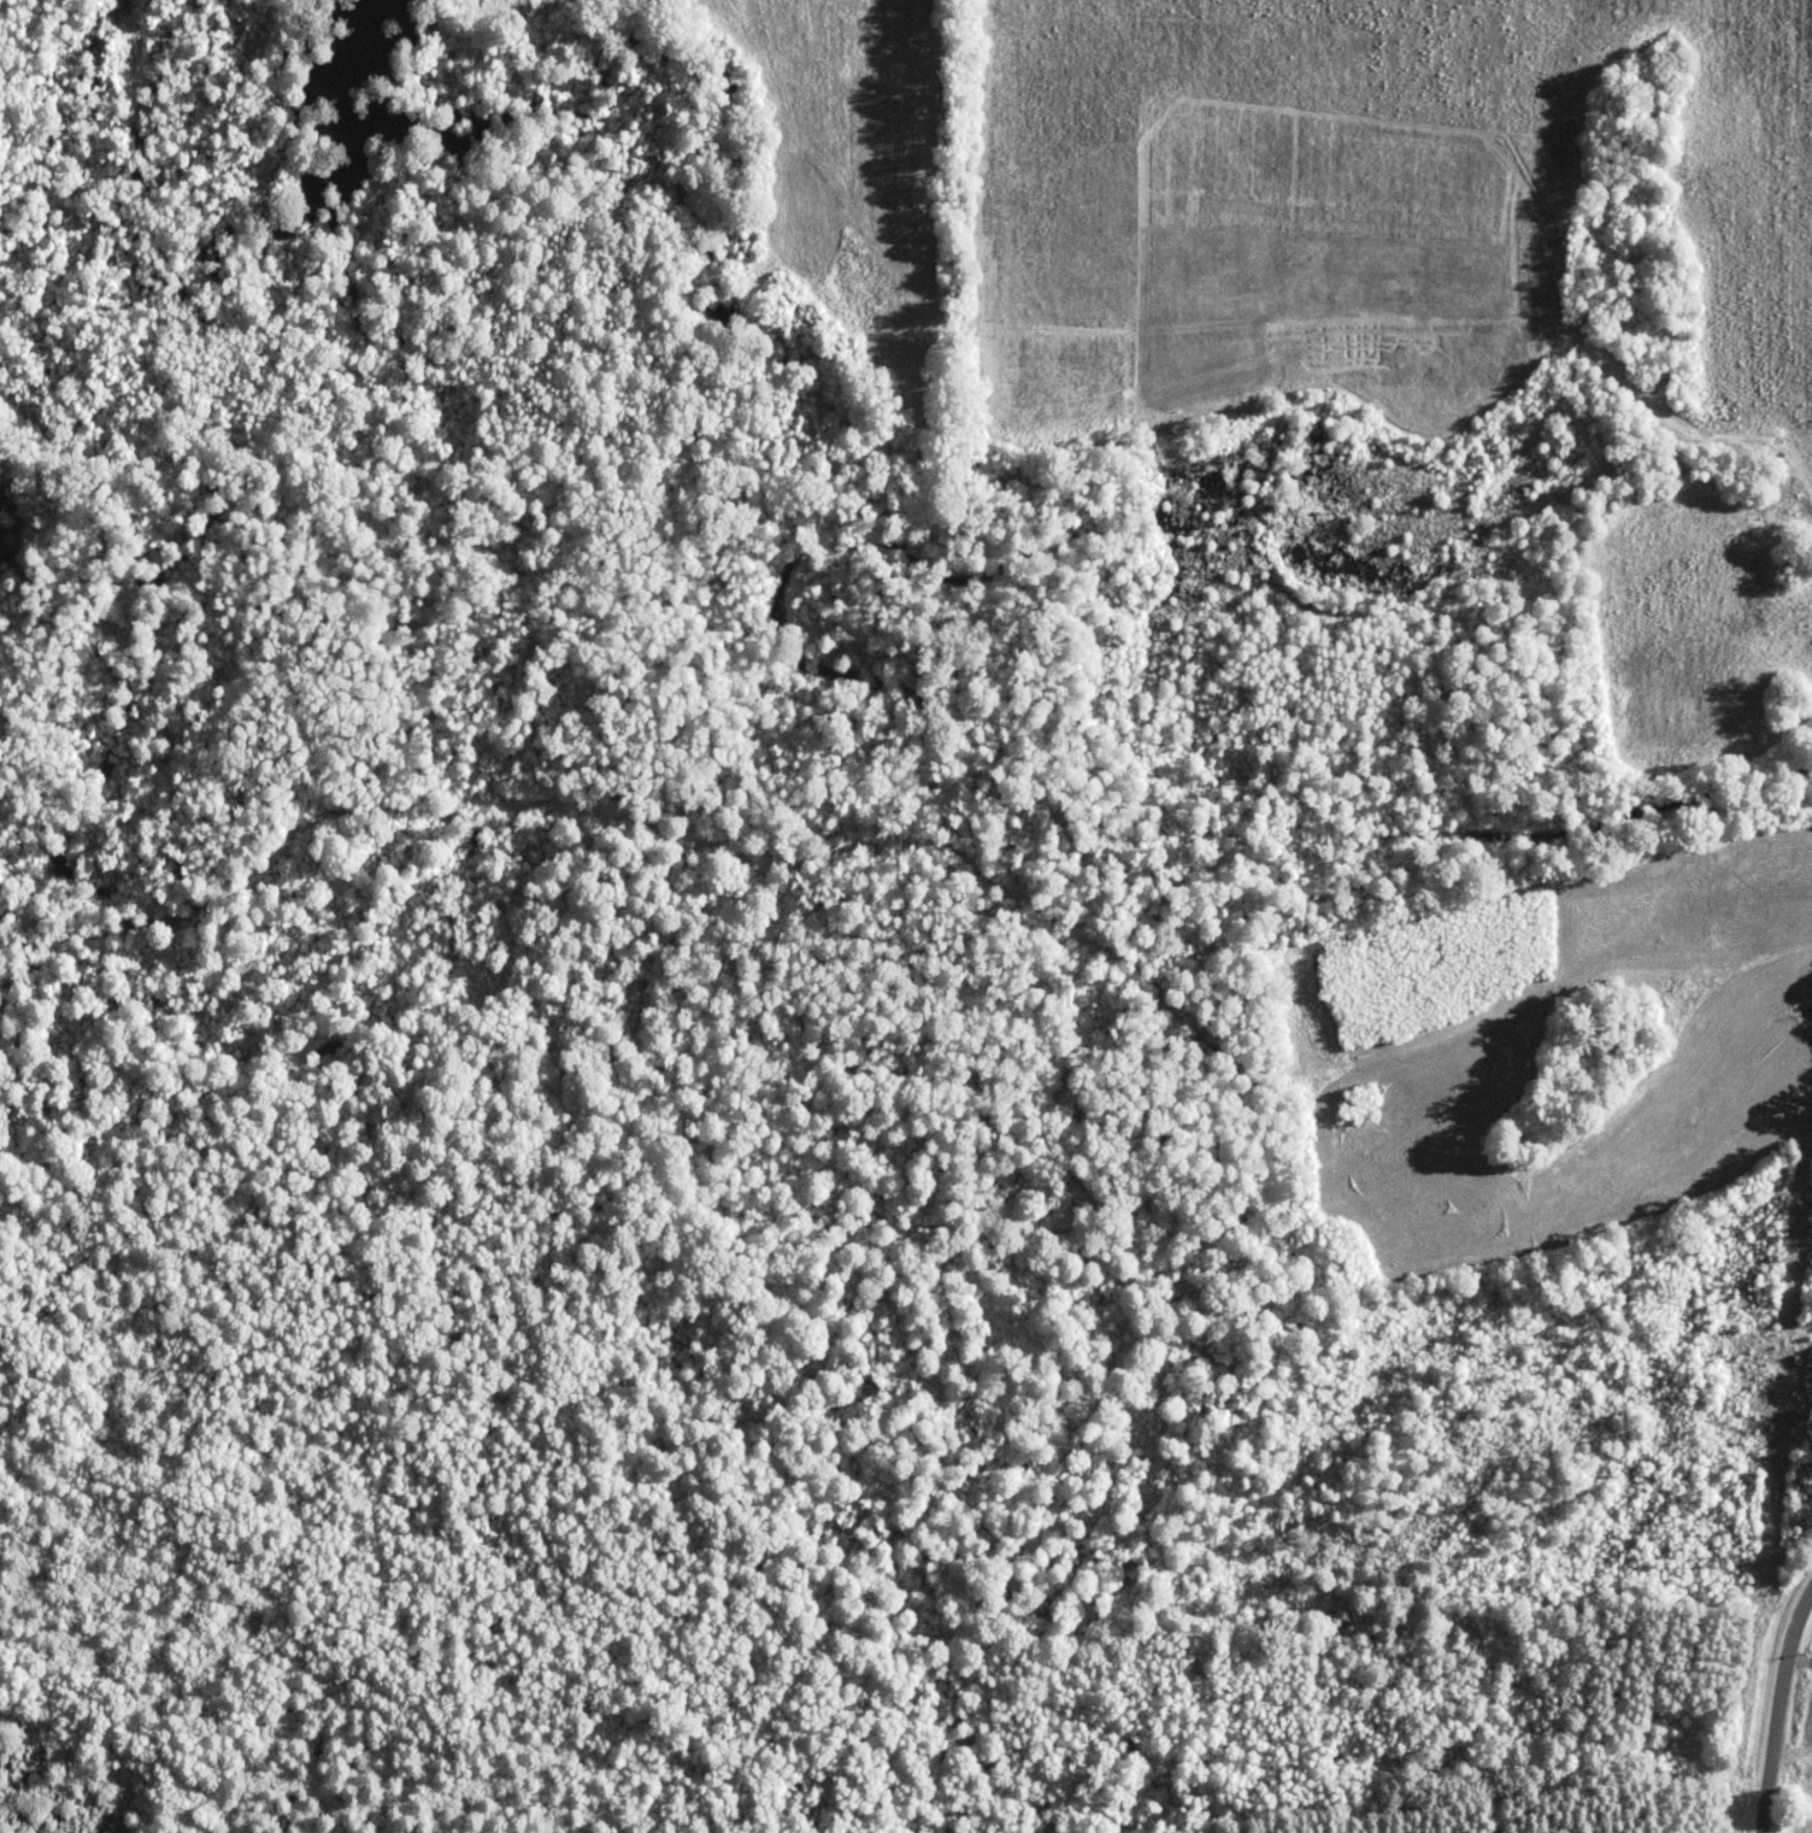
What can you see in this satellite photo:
road: (1772, 1699)

